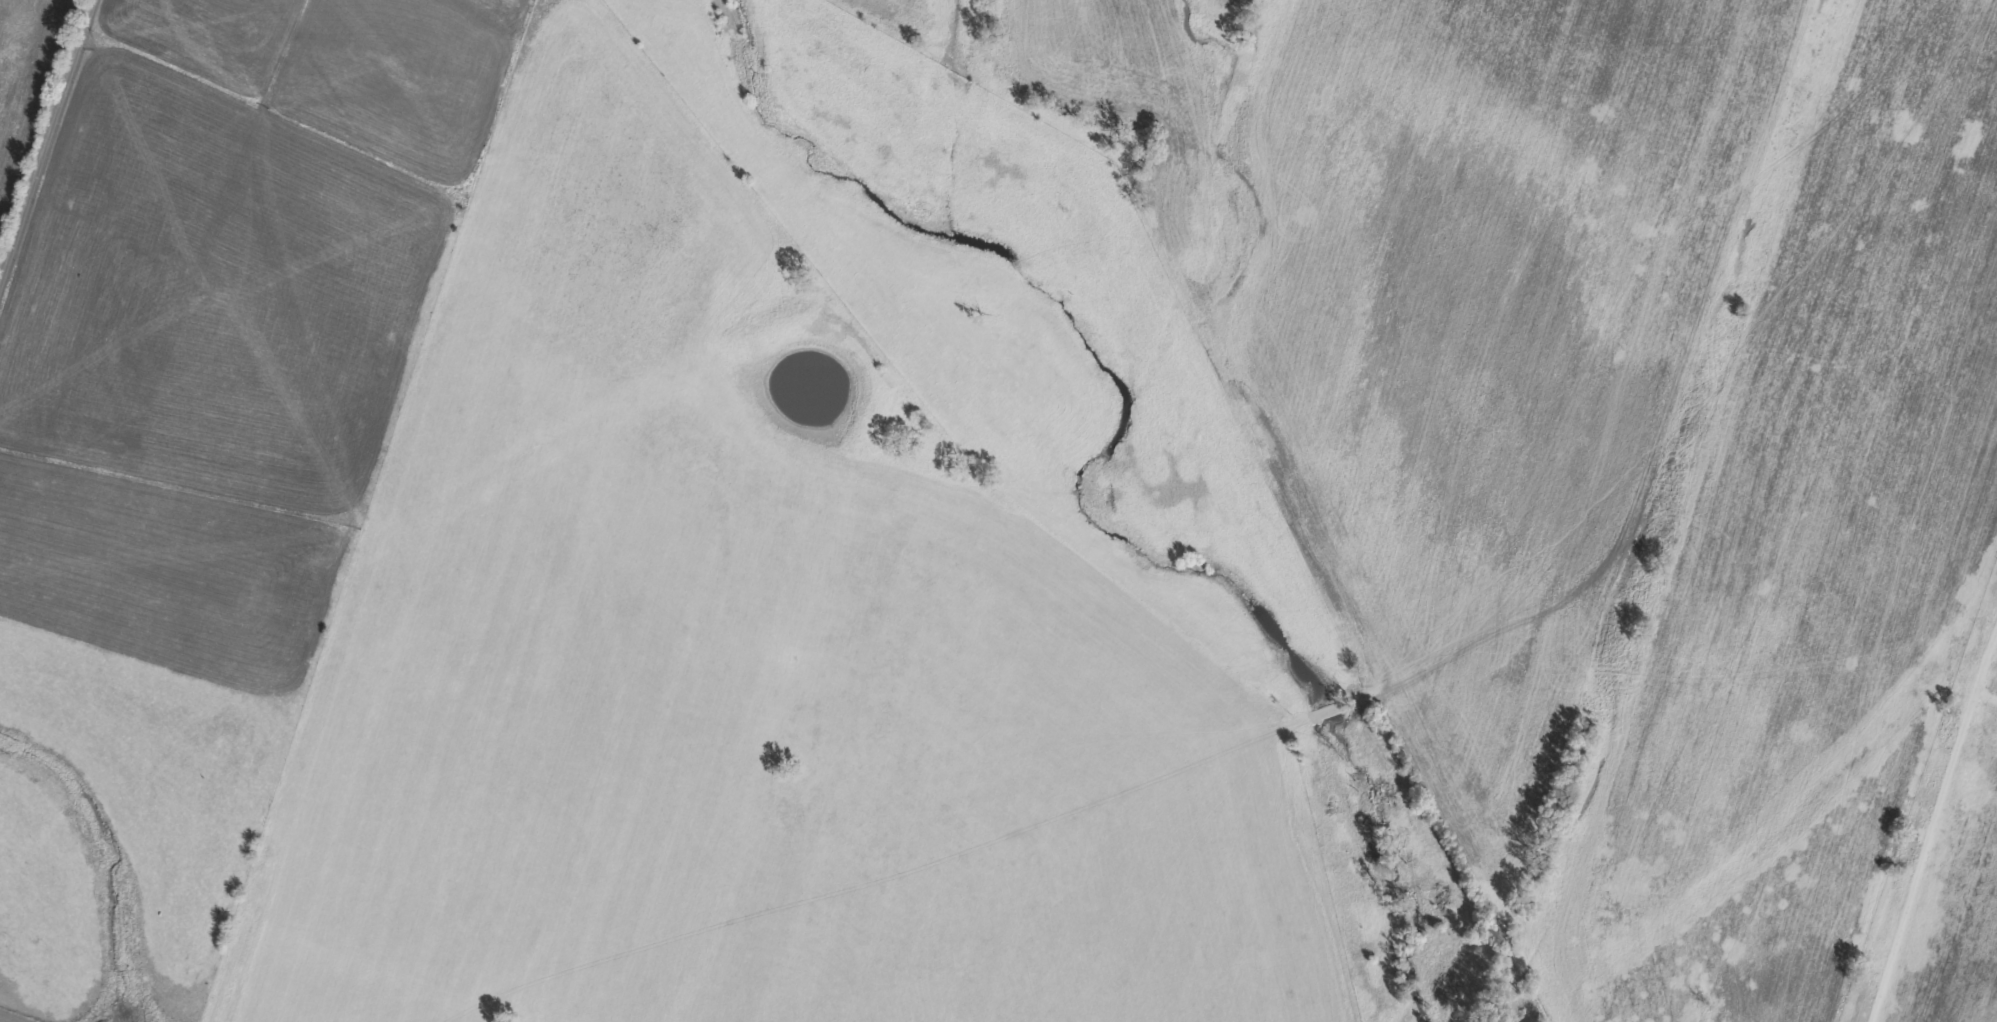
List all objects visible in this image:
road: (1936, 847)

